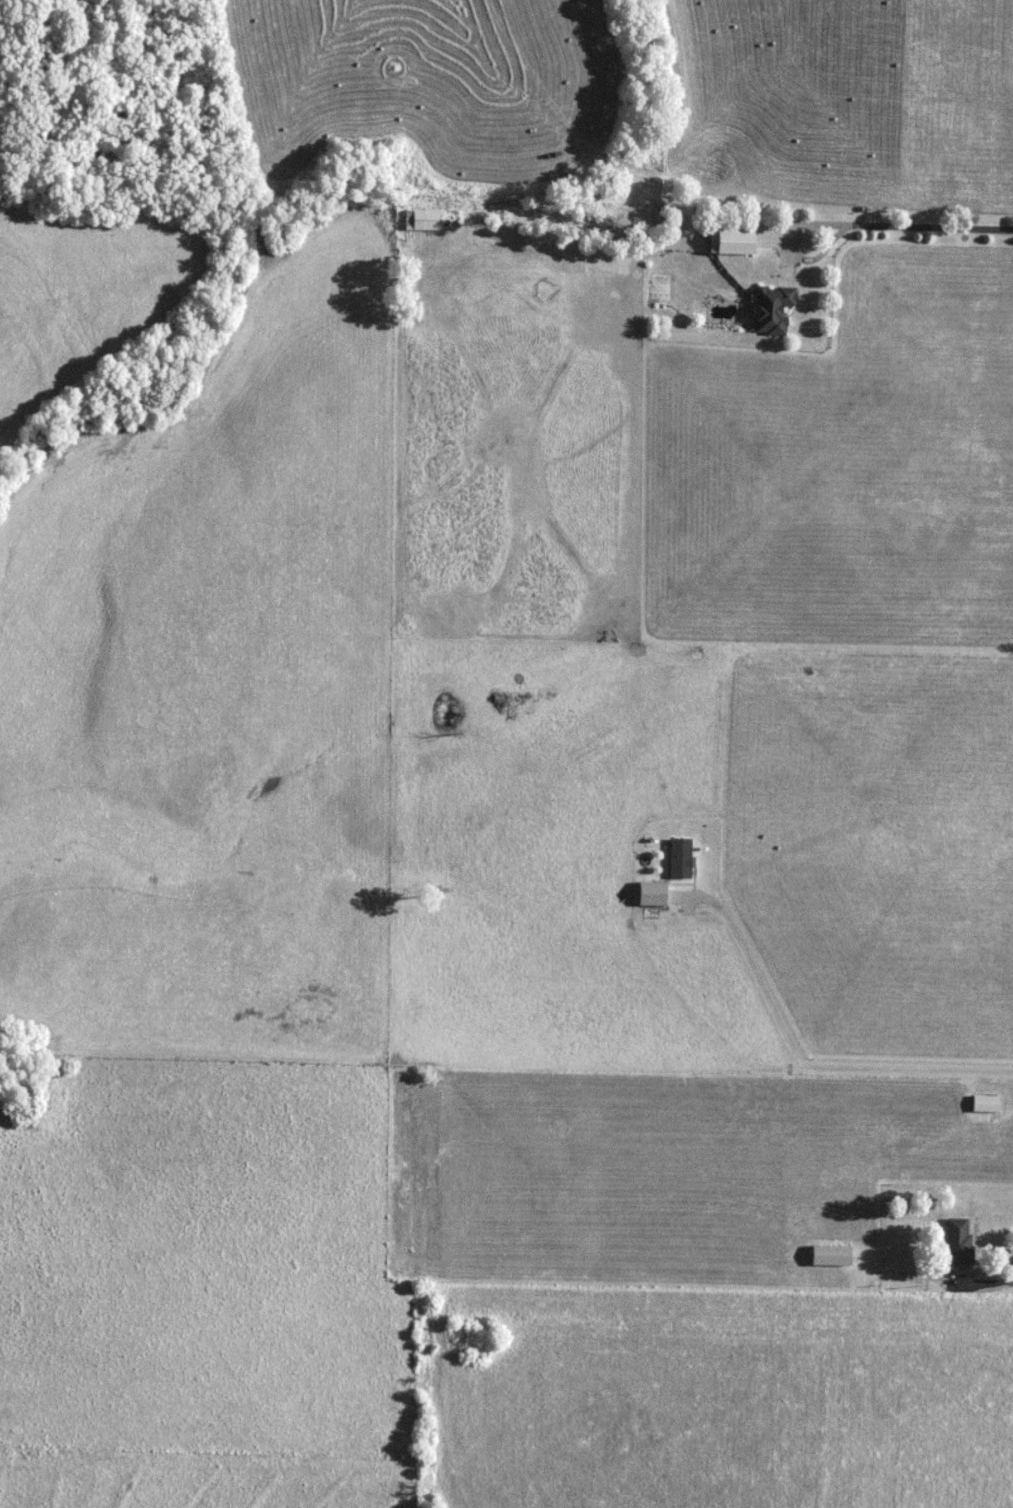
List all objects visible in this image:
building: (424, 221)
road: (881, 222)
building: (742, 239)
road: (828, 252)
crop: (84, 290)
building: (782, 304)
building: (689, 855)
road: (808, 1055)
building: (994, 1101)
building: (968, 1239)
road: (992, 1280)
crop: (719, 1398)

